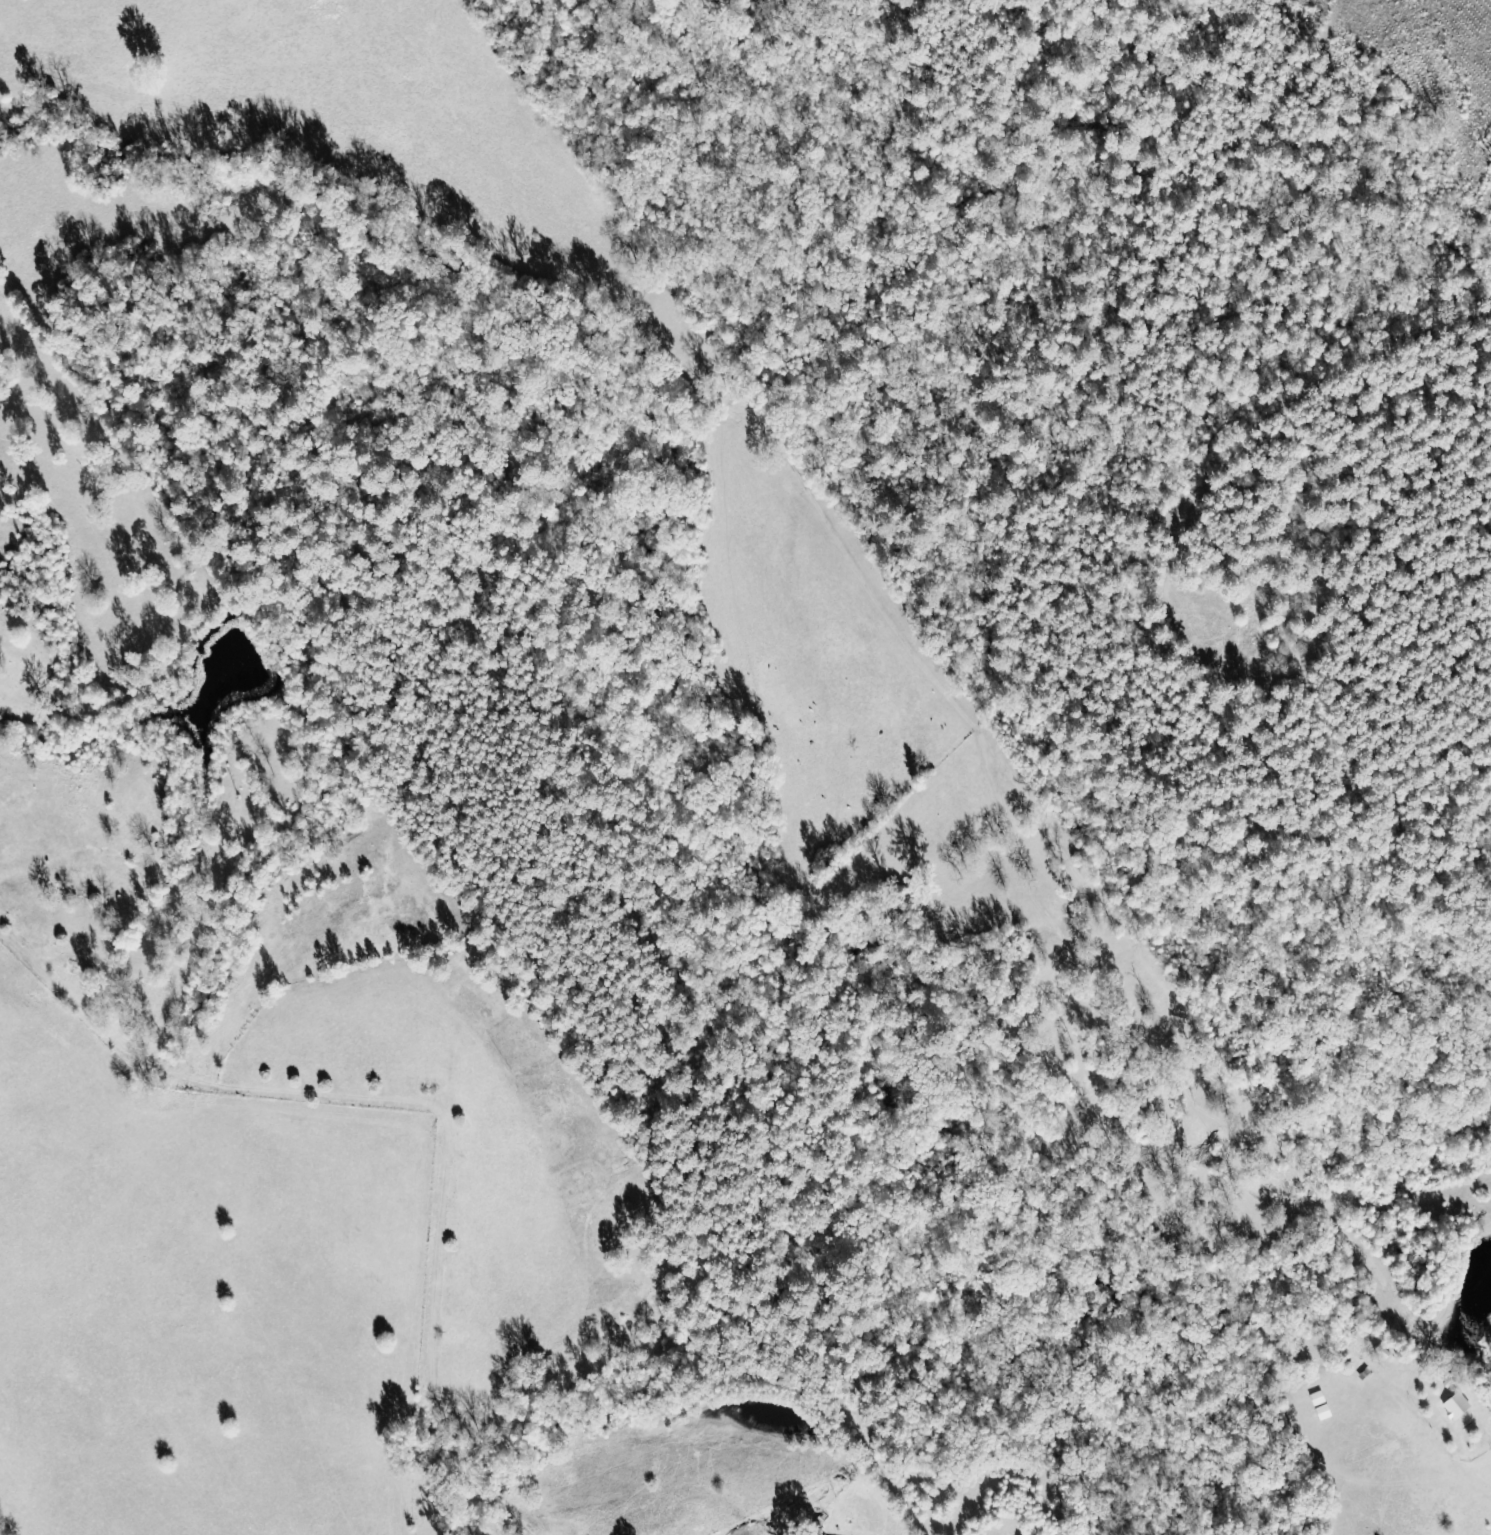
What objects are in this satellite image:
building: (1454, 1404)

